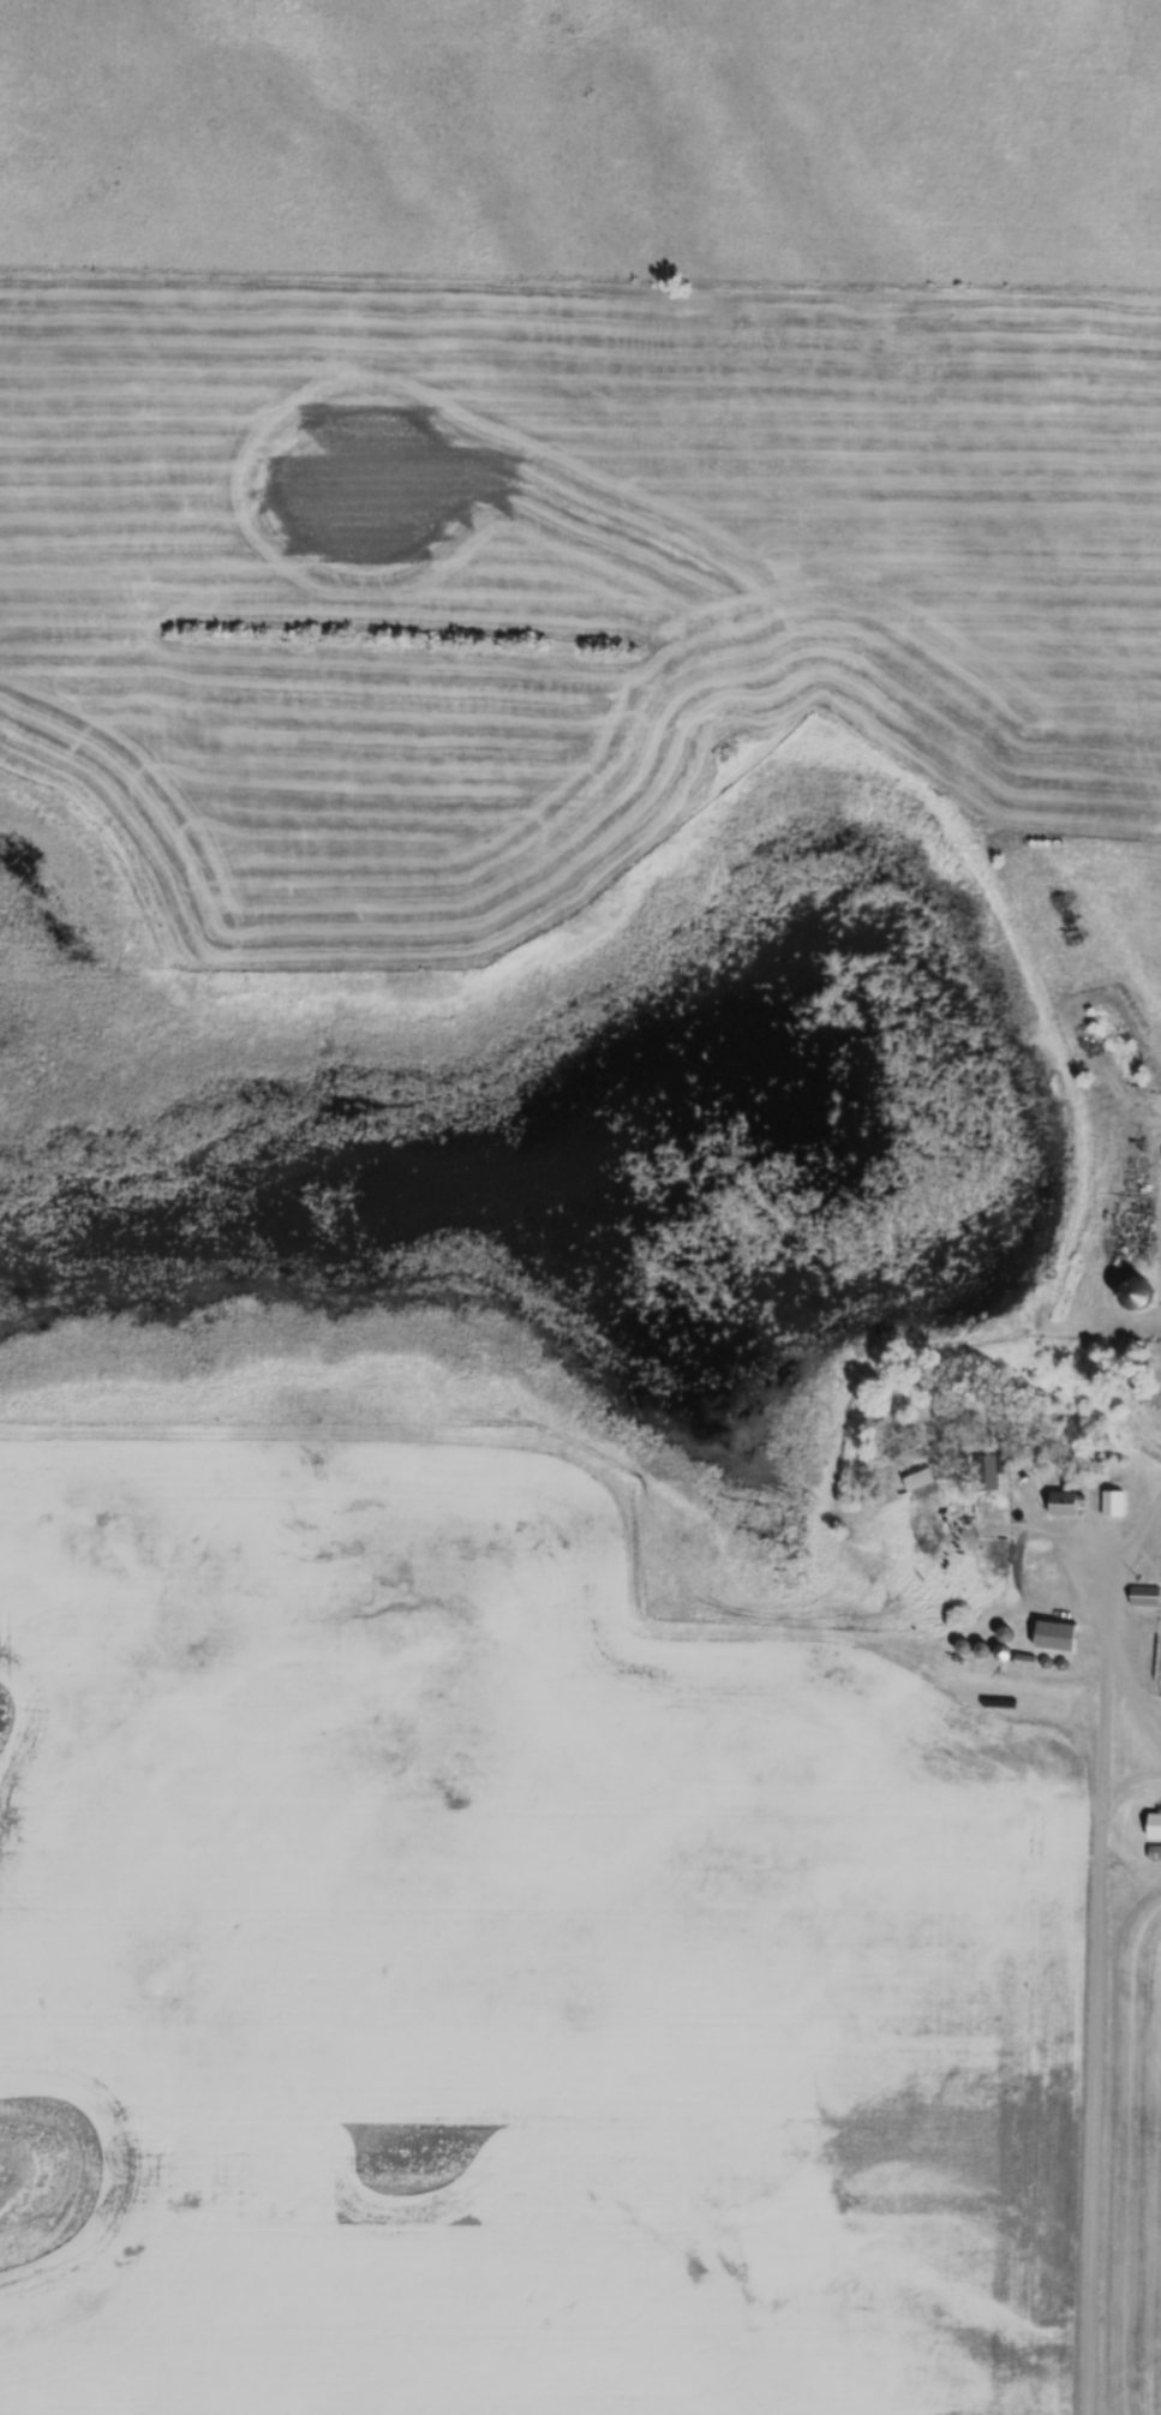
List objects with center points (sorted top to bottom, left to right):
building: (988, 1470)
building: (920, 1478)
building: (1112, 1501)
building: (1067, 1502)
building: (684, 1537)
building: (1144, 1595)
building: (1055, 1636)
building: (1154, 1825)
road: (1100, 1967)

